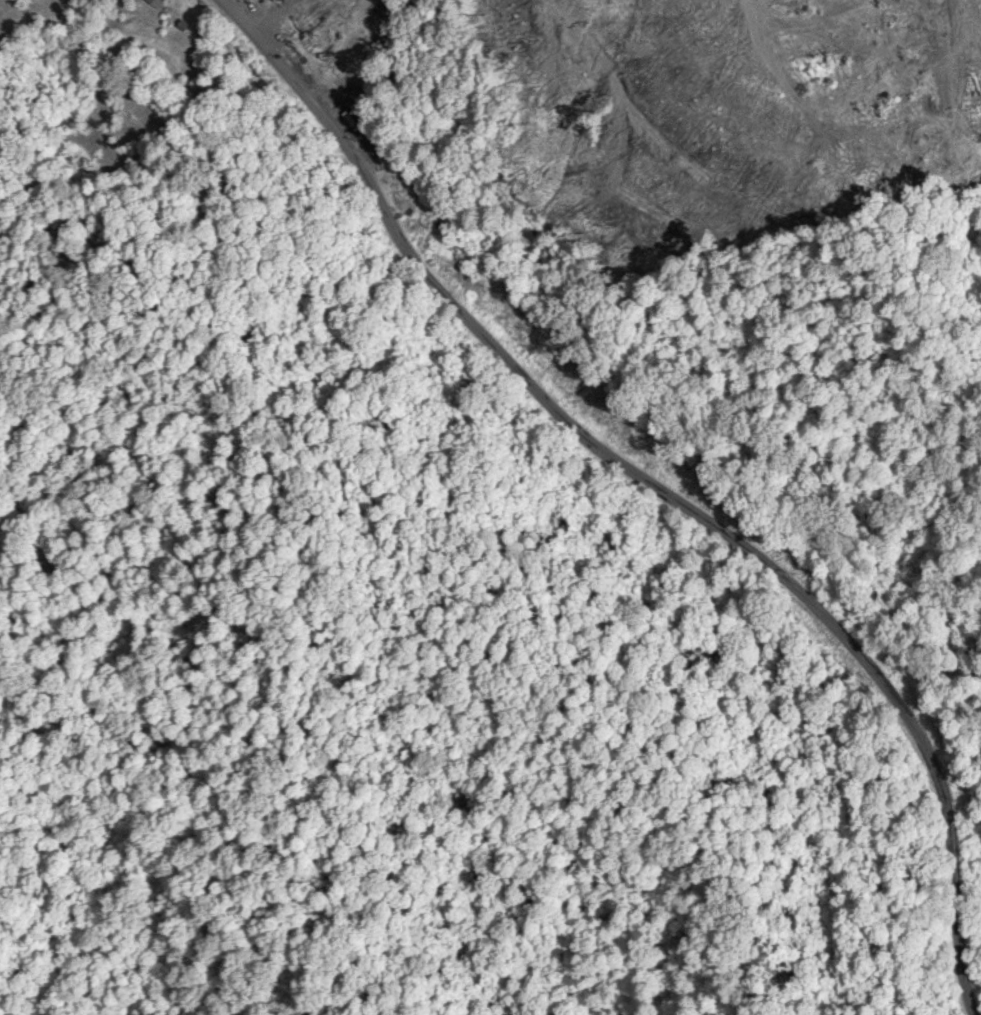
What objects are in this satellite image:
building: (157, 2)
road: (655, 483)
road: (648, 867)

